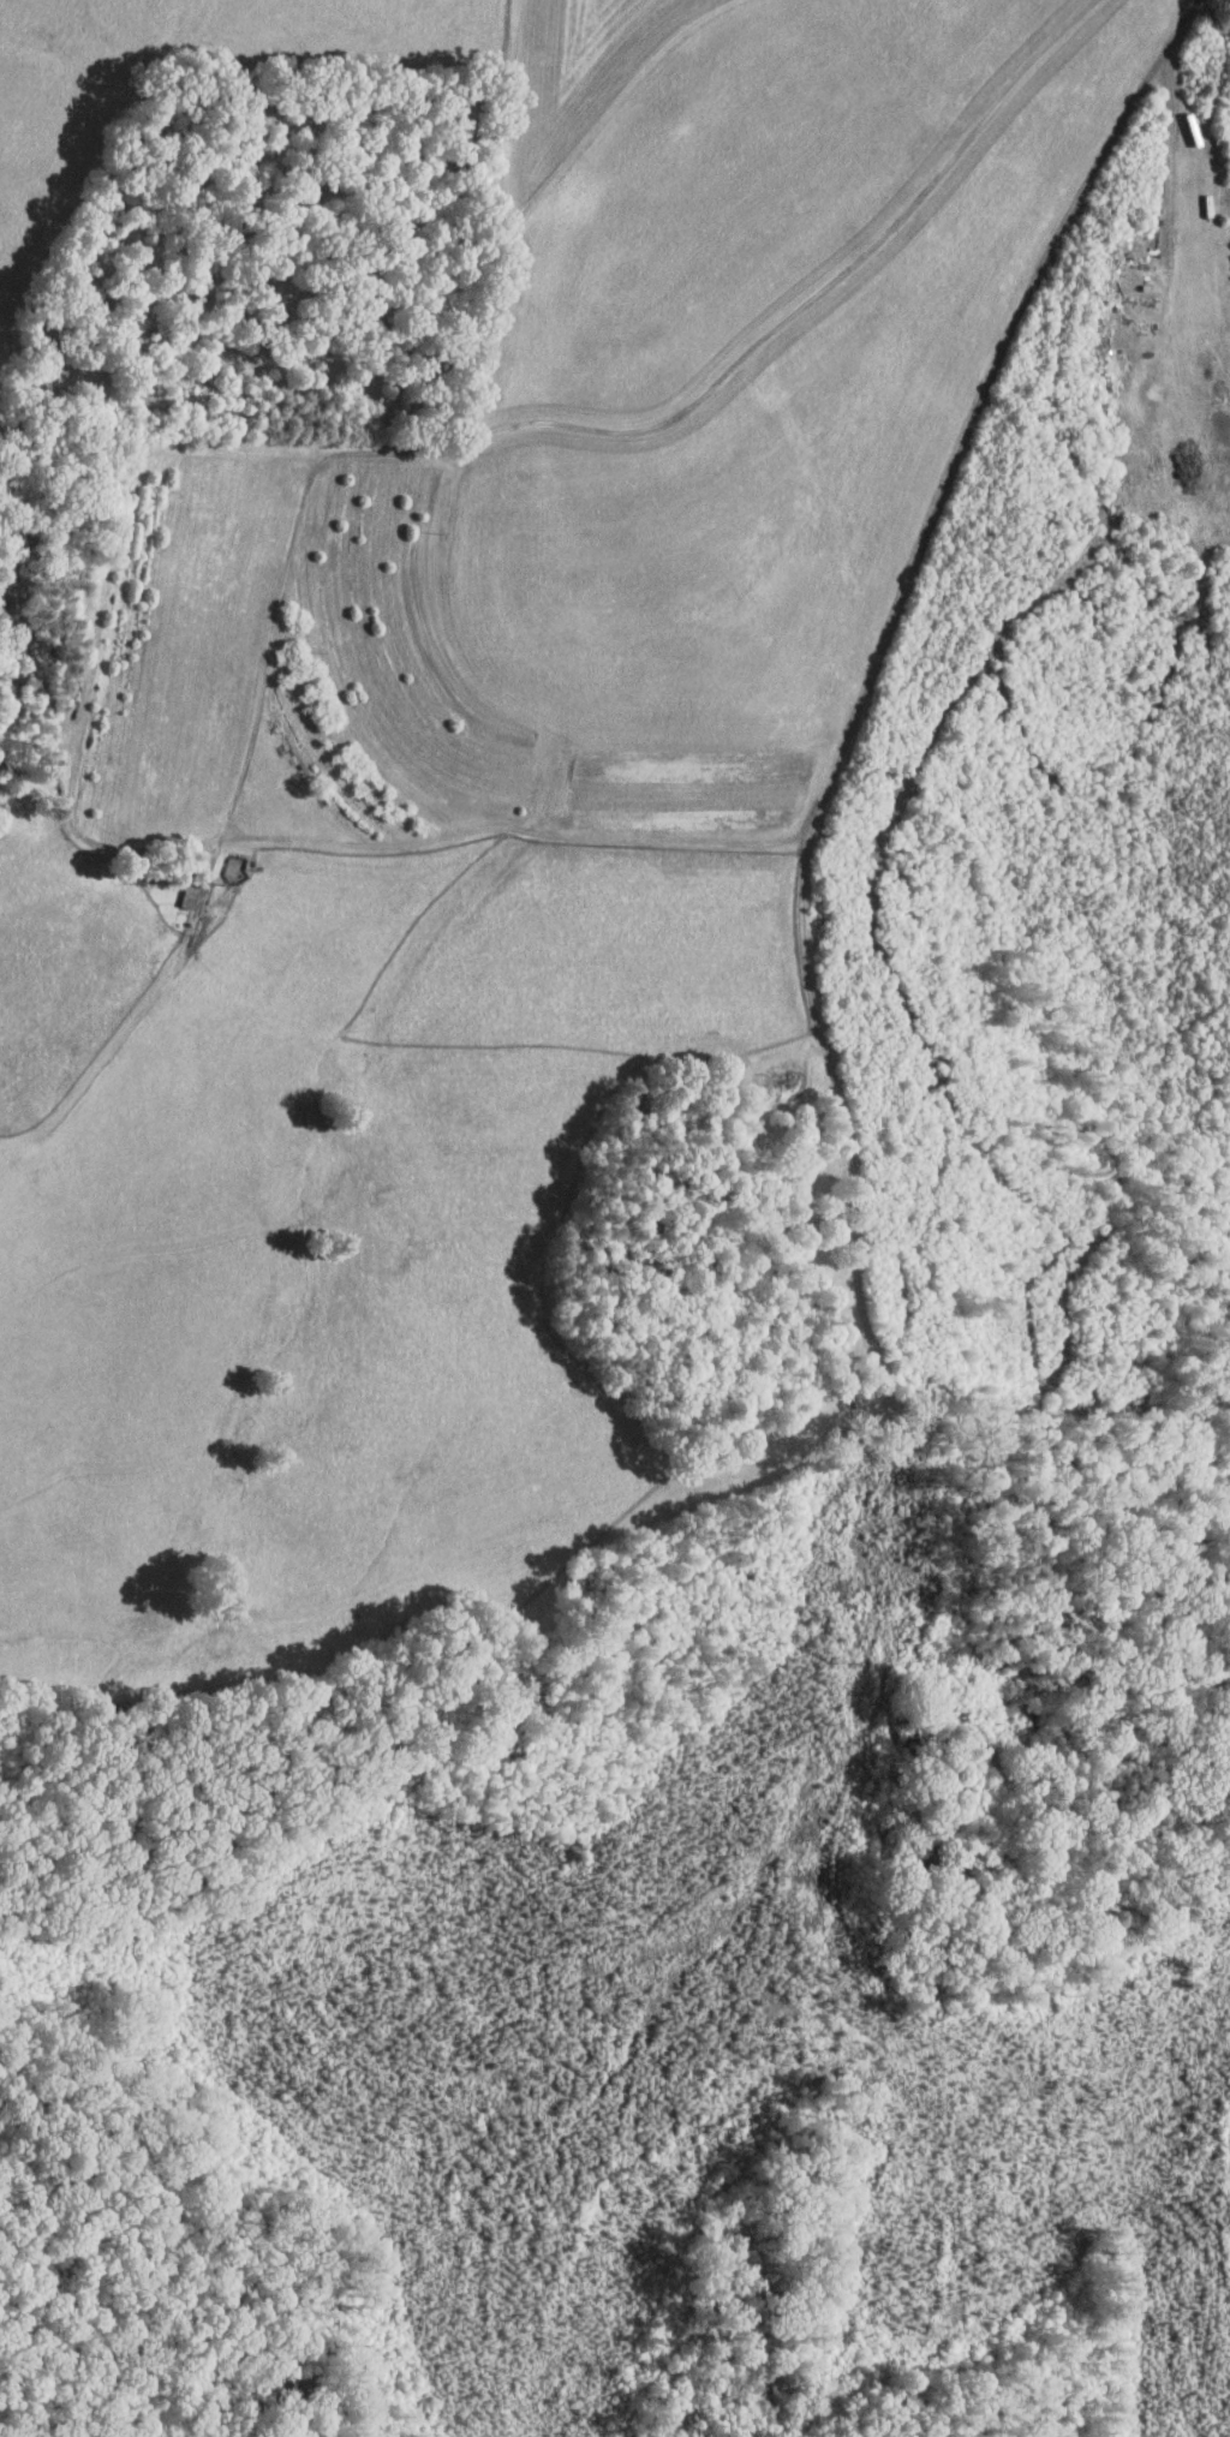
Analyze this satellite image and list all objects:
road: (1190, 20)
road: (668, 129)
road: (867, 198)

